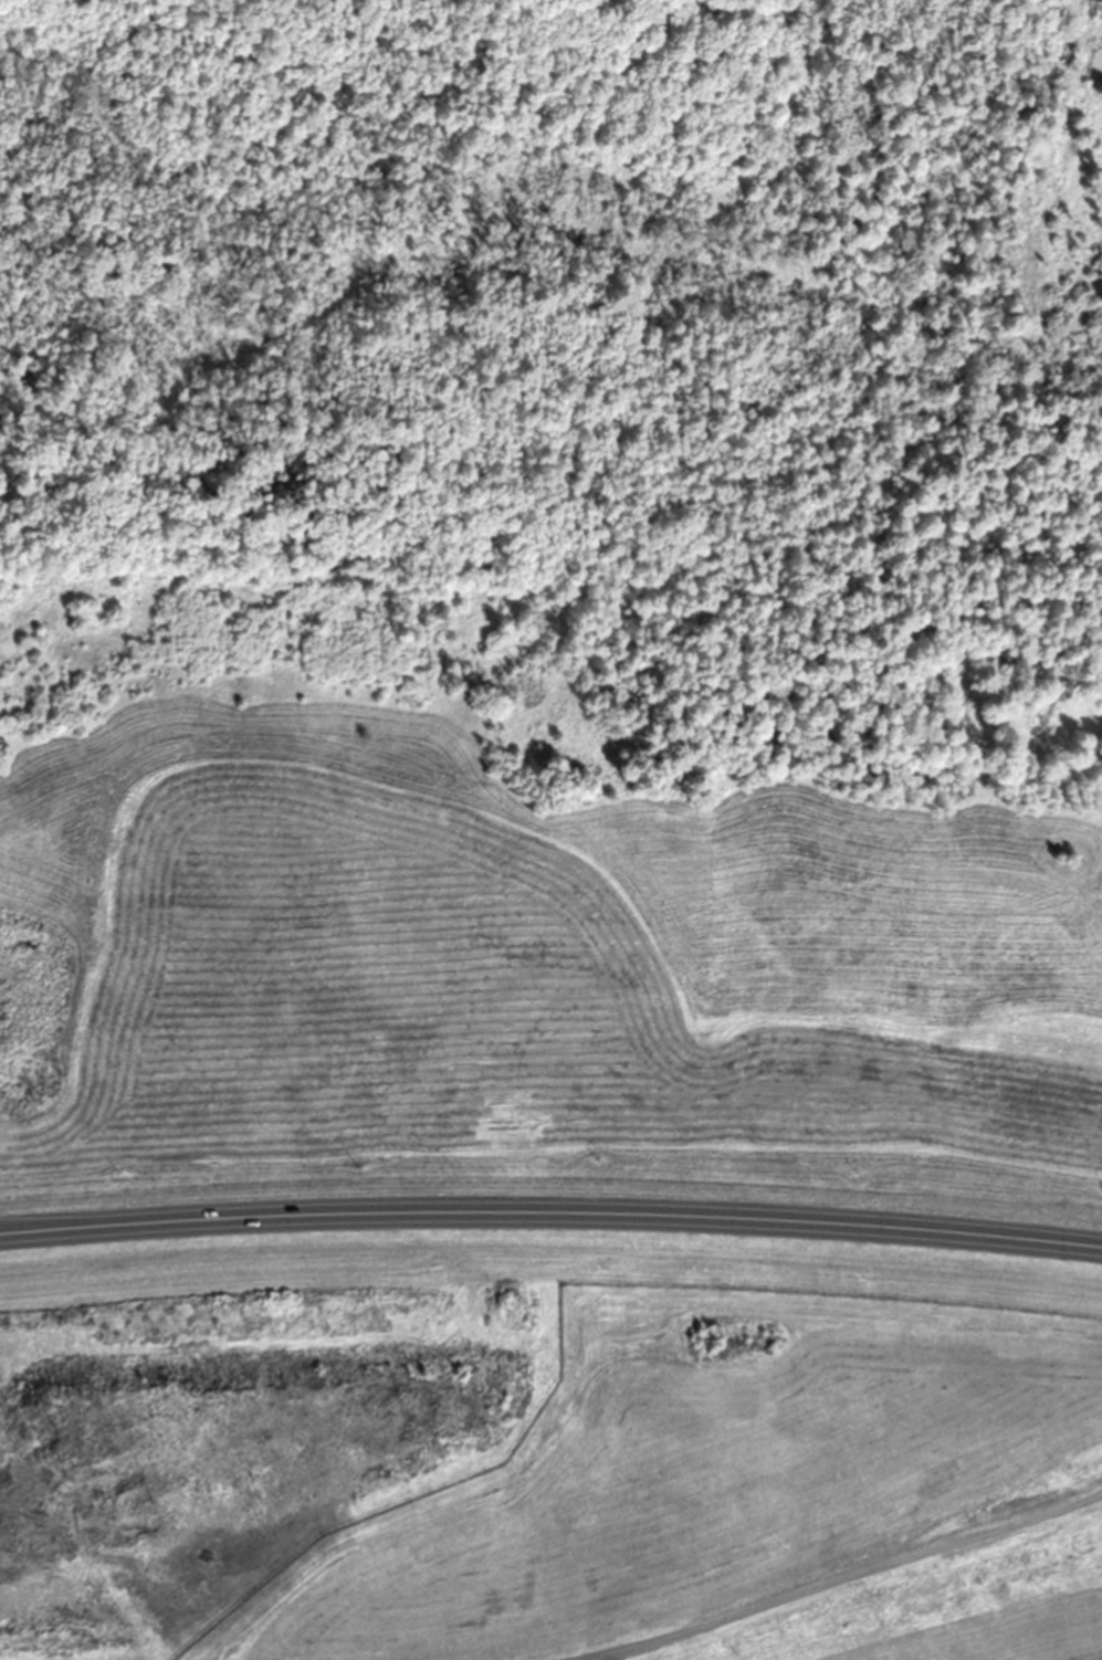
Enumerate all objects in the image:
airport: (550, 1104)
road: (550, 1211)

